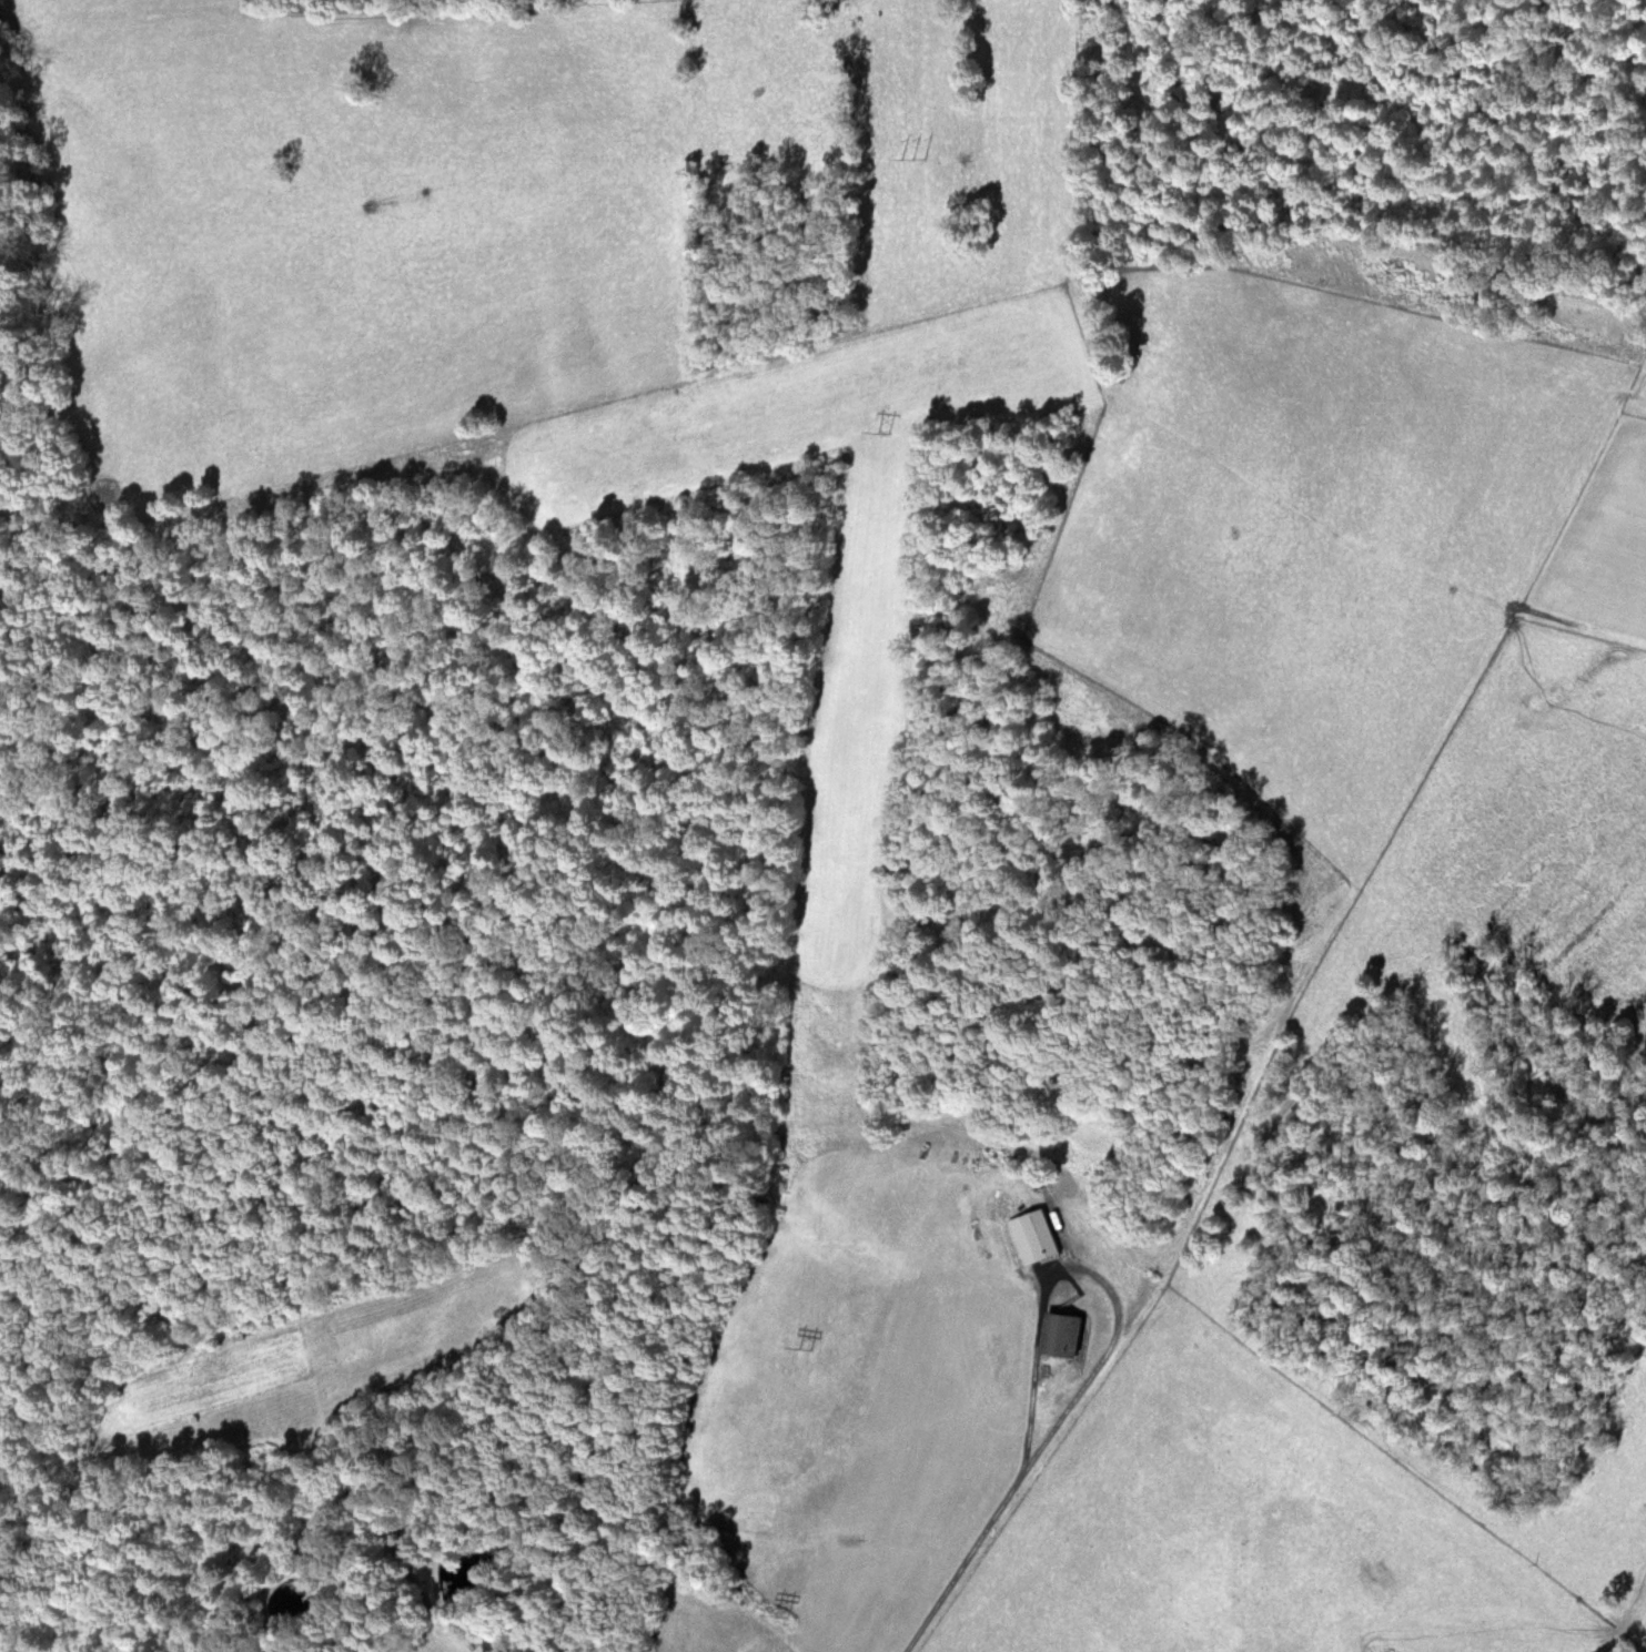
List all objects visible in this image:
building: (1036, 1237)
building: (1062, 1334)

